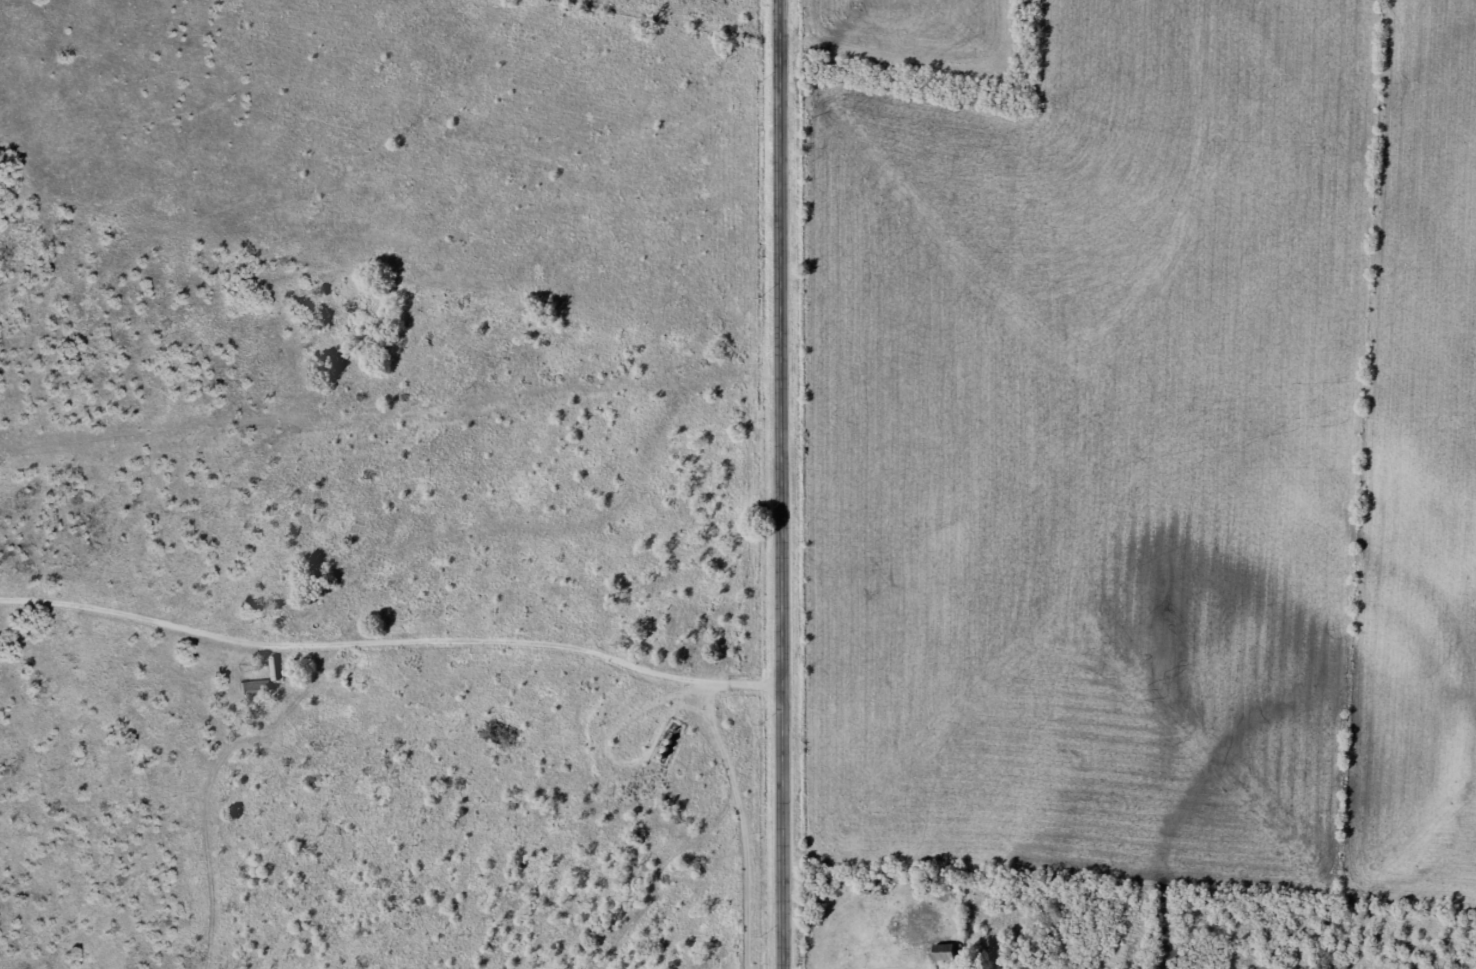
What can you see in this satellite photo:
road: (388, 437)
road: (782, 484)
building: (253, 690)
building: (942, 956)

